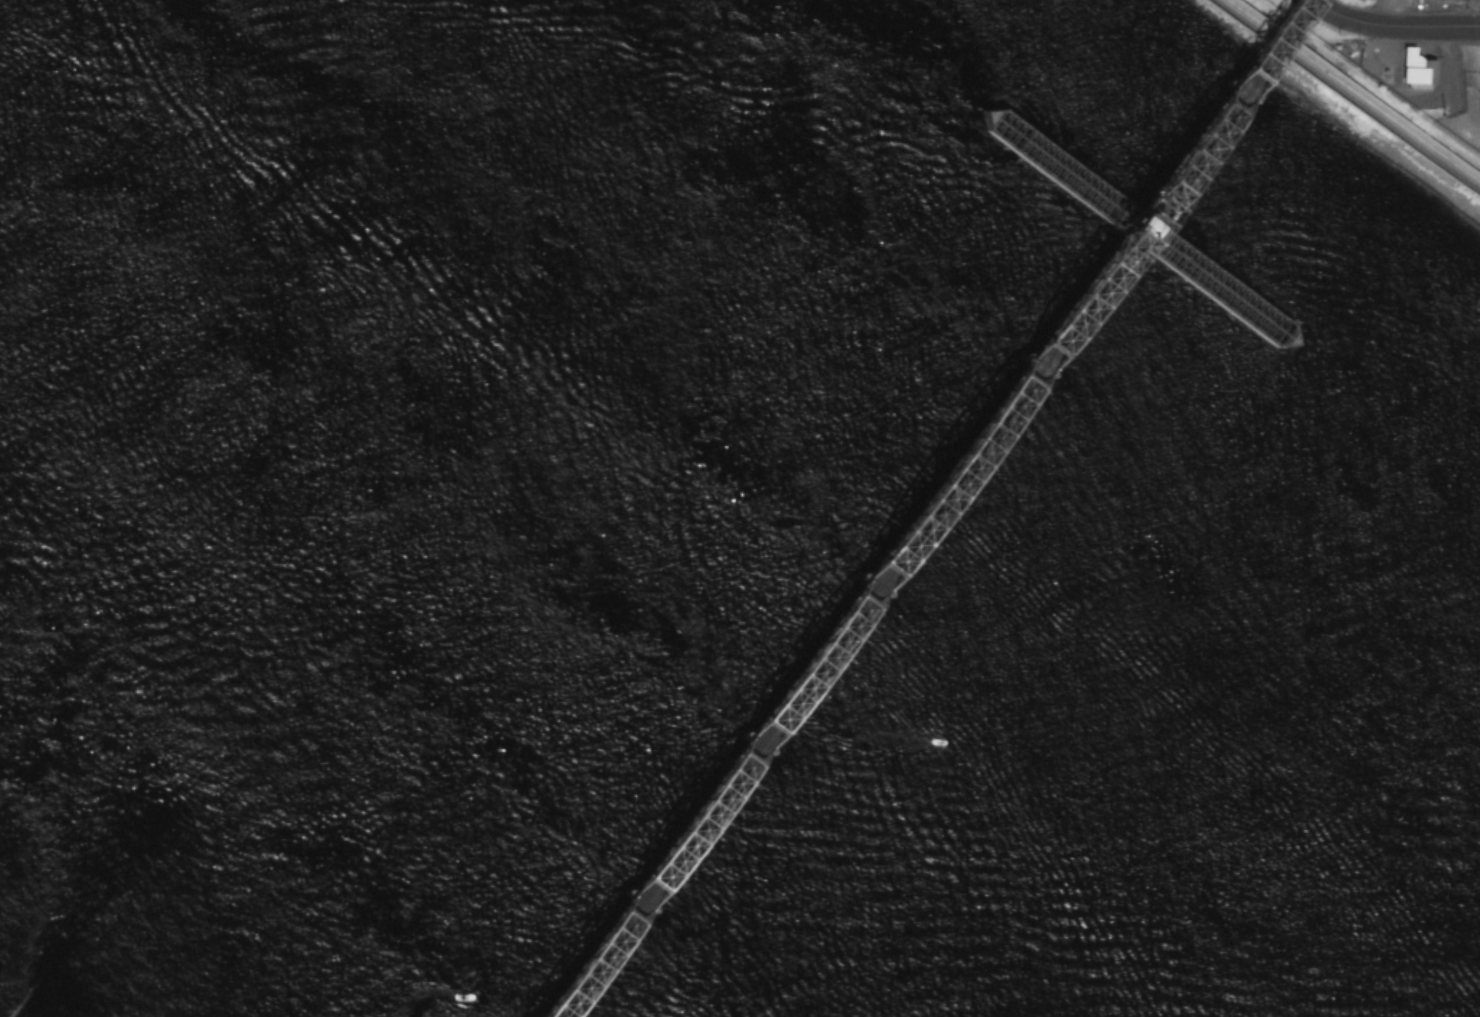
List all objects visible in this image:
road: (1328, 8)
road: (1410, 23)
railway: (1267, 46)
railway: (1275, 48)
road: (1474, 52)
building: (1416, 66)
railway: (1349, 94)
railway: (1132, 230)
railway: (1138, 234)
pier: (1479, 288)
river: (741, 485)
railway: (789, 692)
railway: (797, 694)

